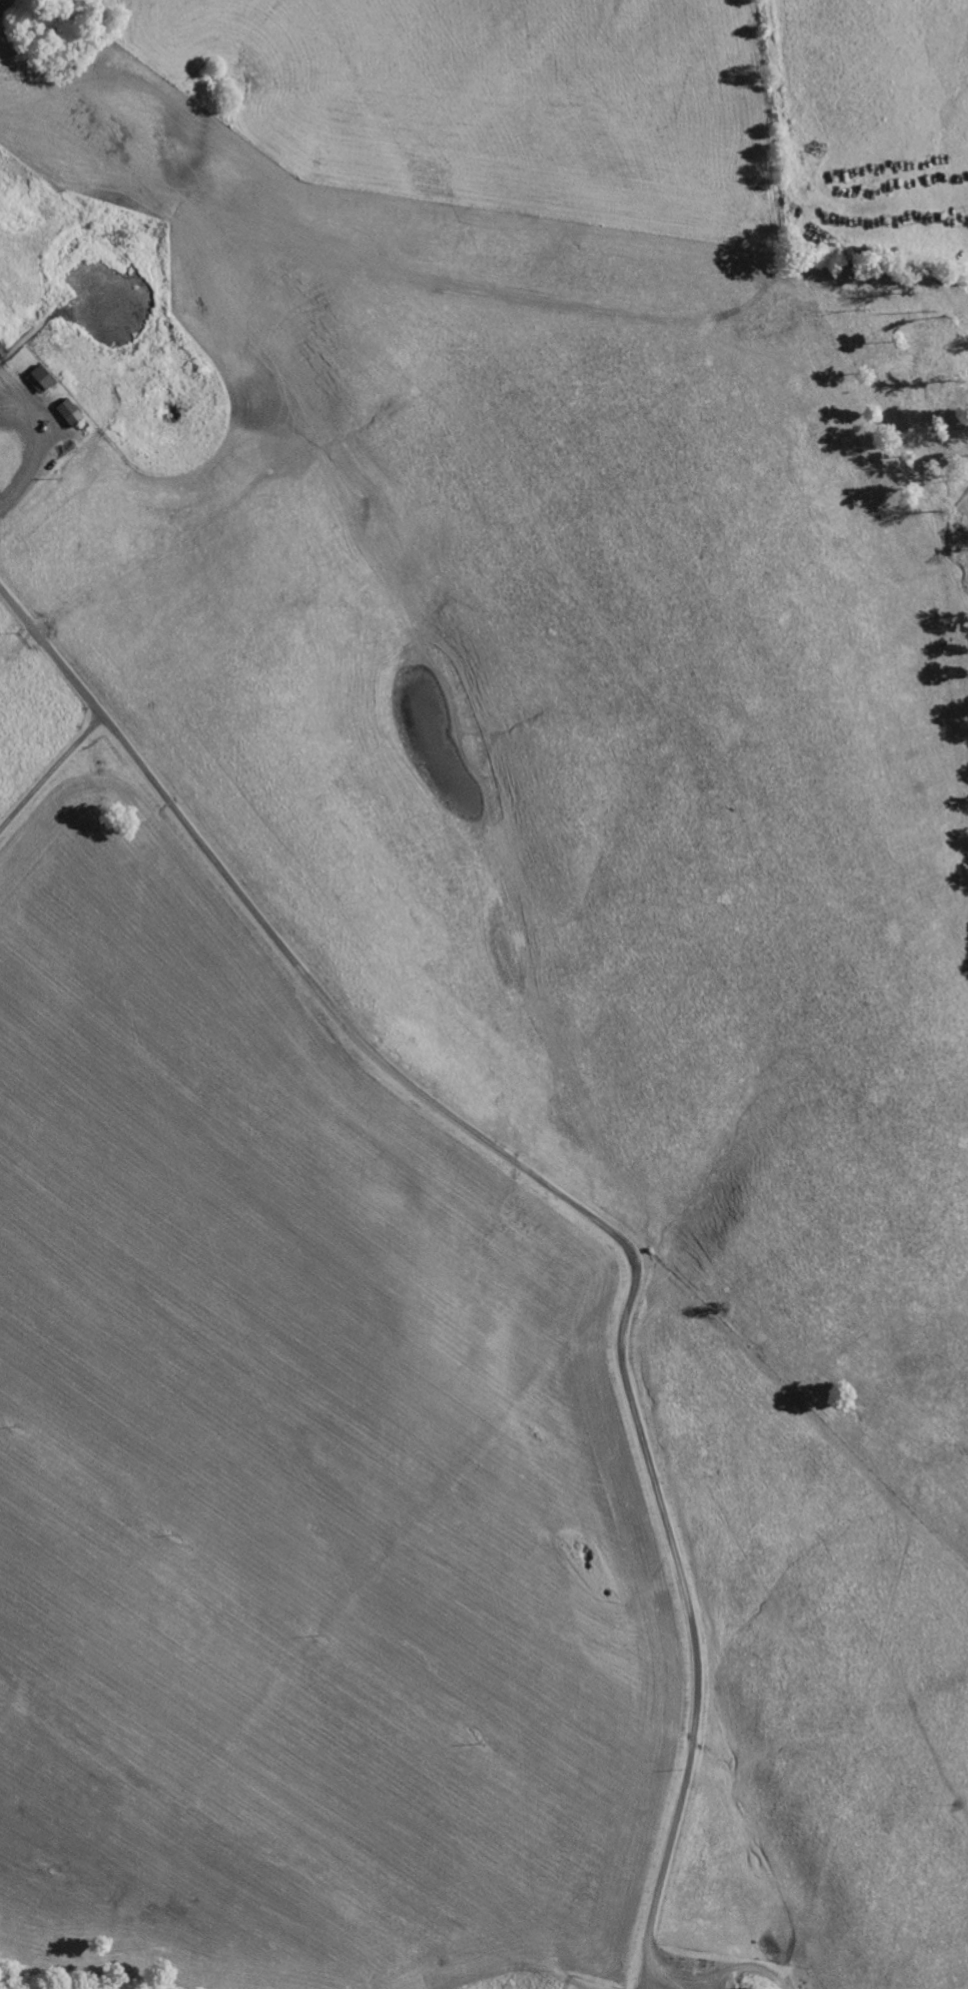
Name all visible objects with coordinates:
building: (42, 379)
building: (72, 413)
road: (561, 1195)

